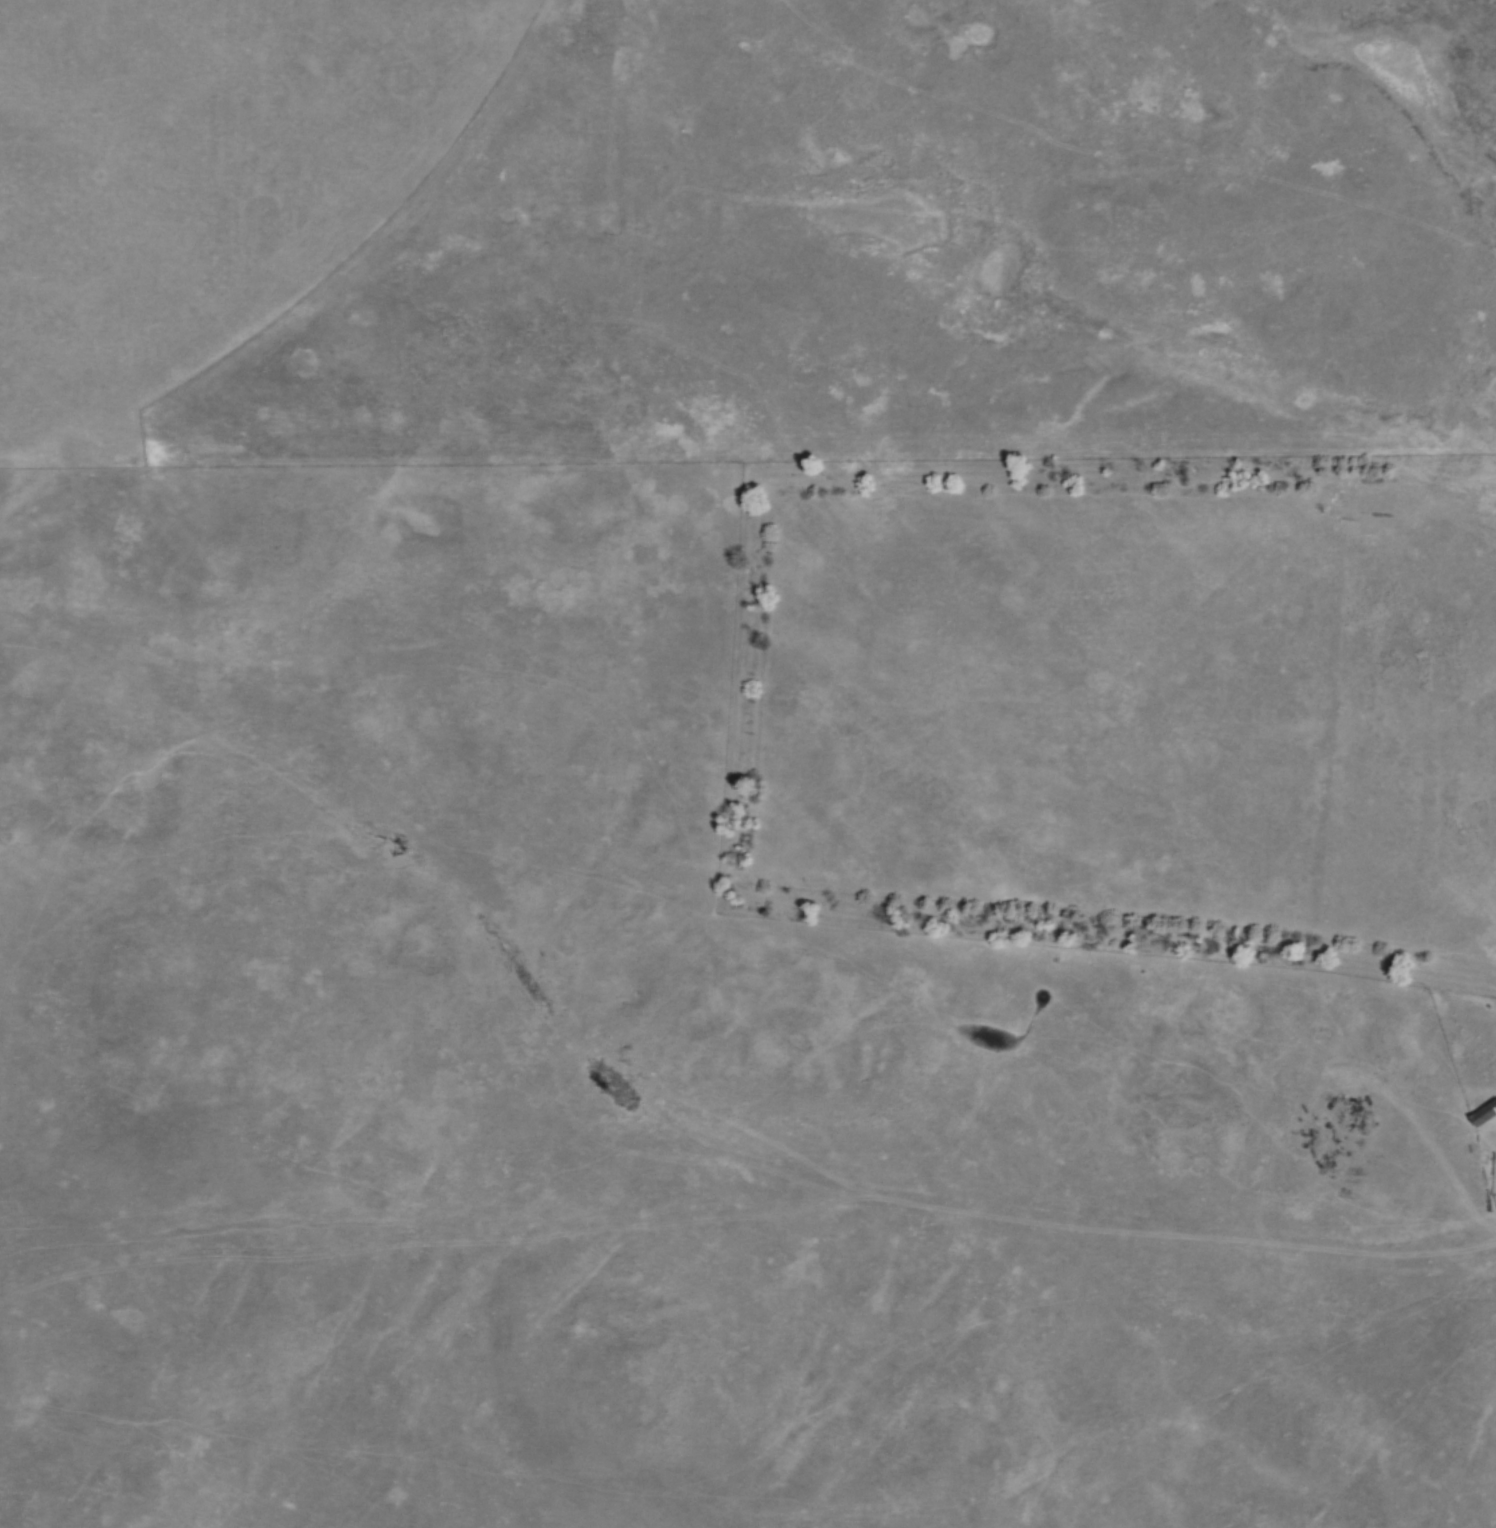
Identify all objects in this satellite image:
building: (1482, 1110)

